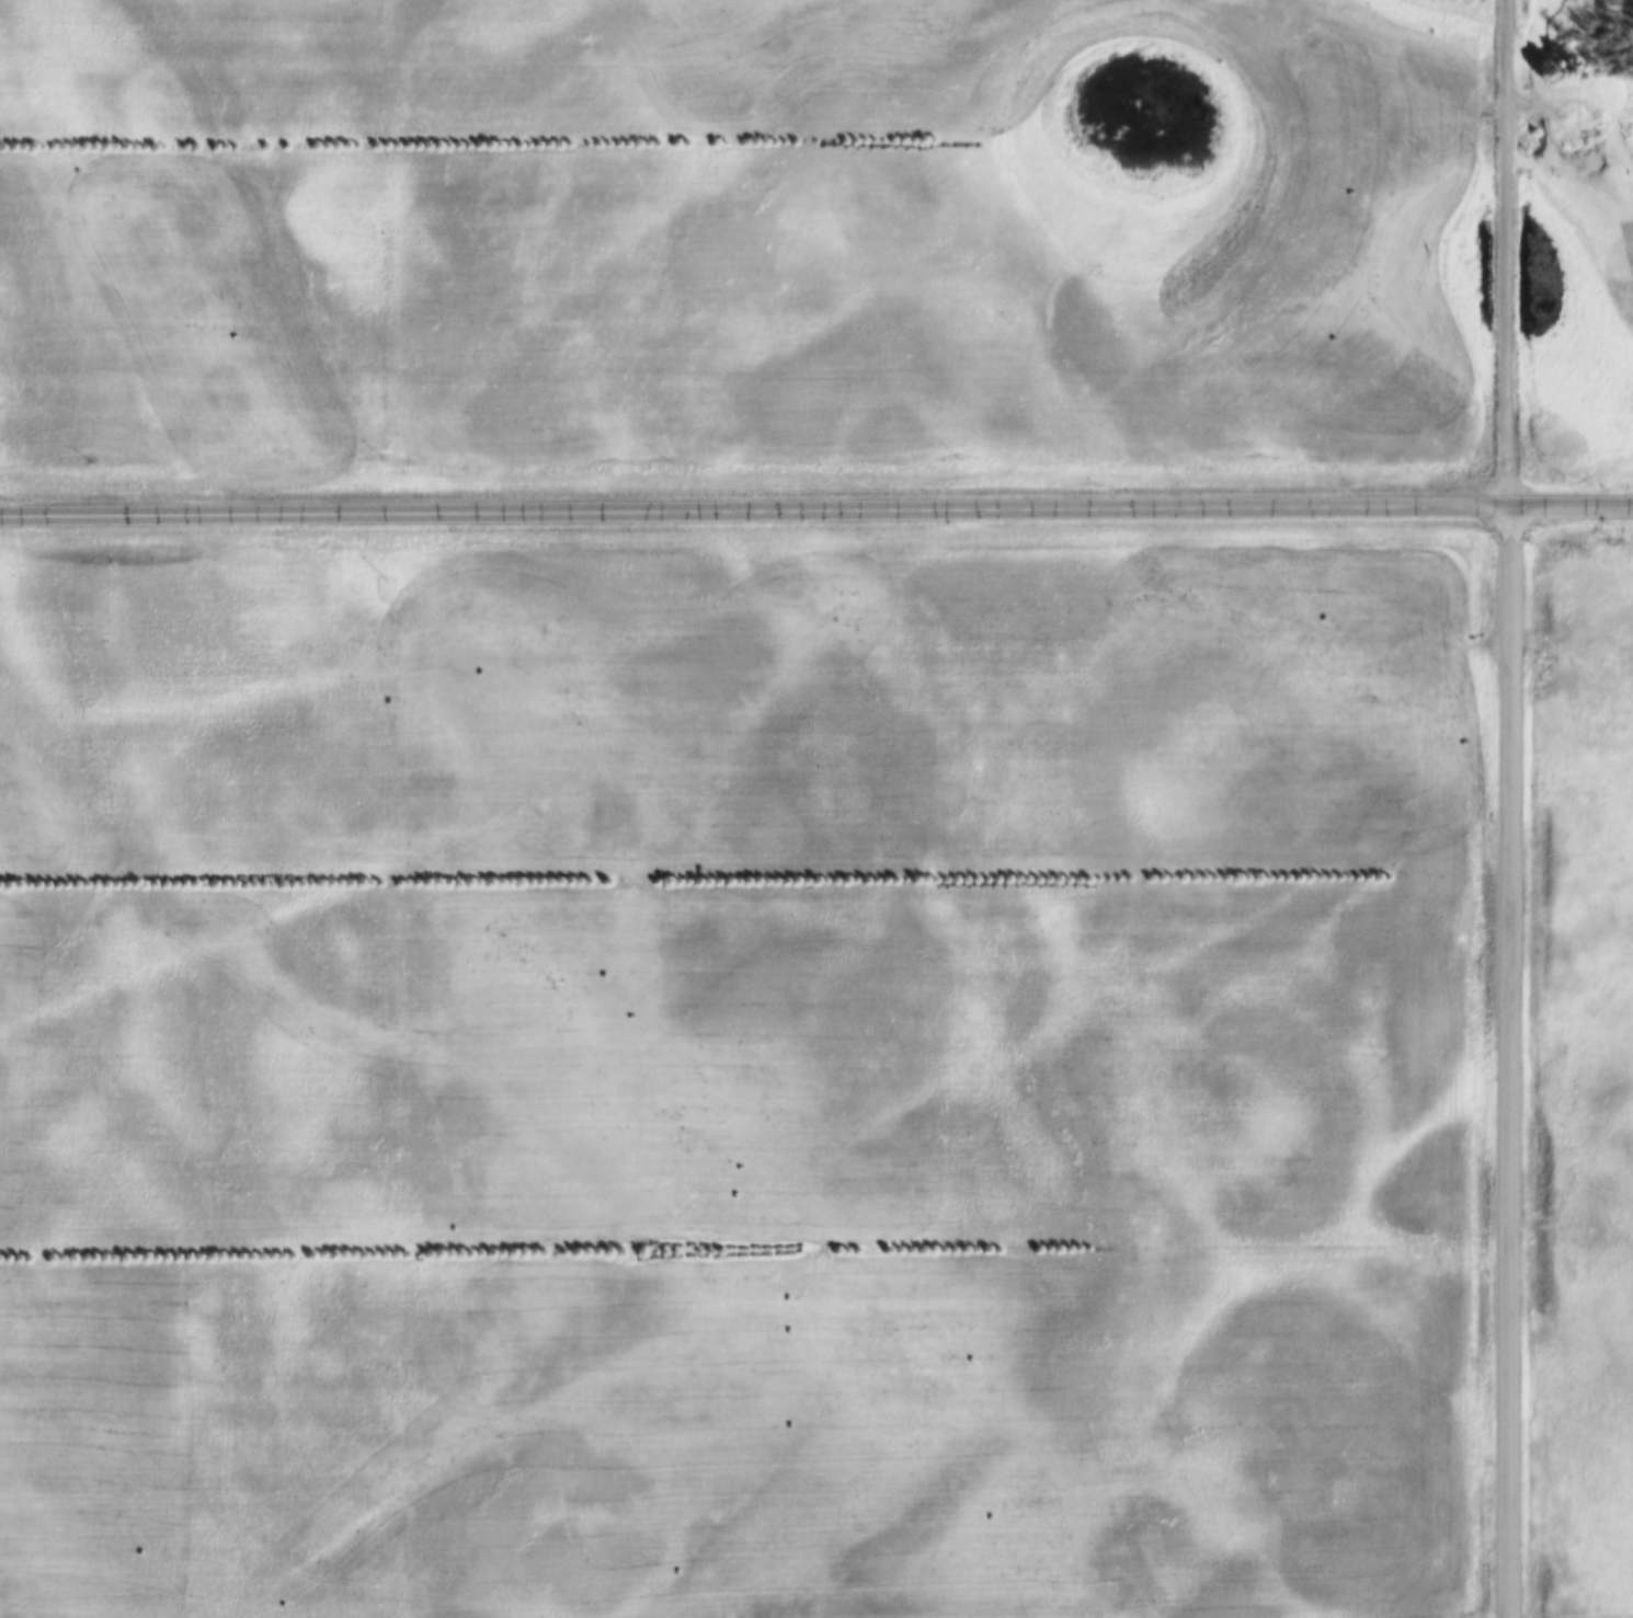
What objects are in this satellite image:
road: (1506, 252)
road: (816, 507)
road: (1510, 1060)

